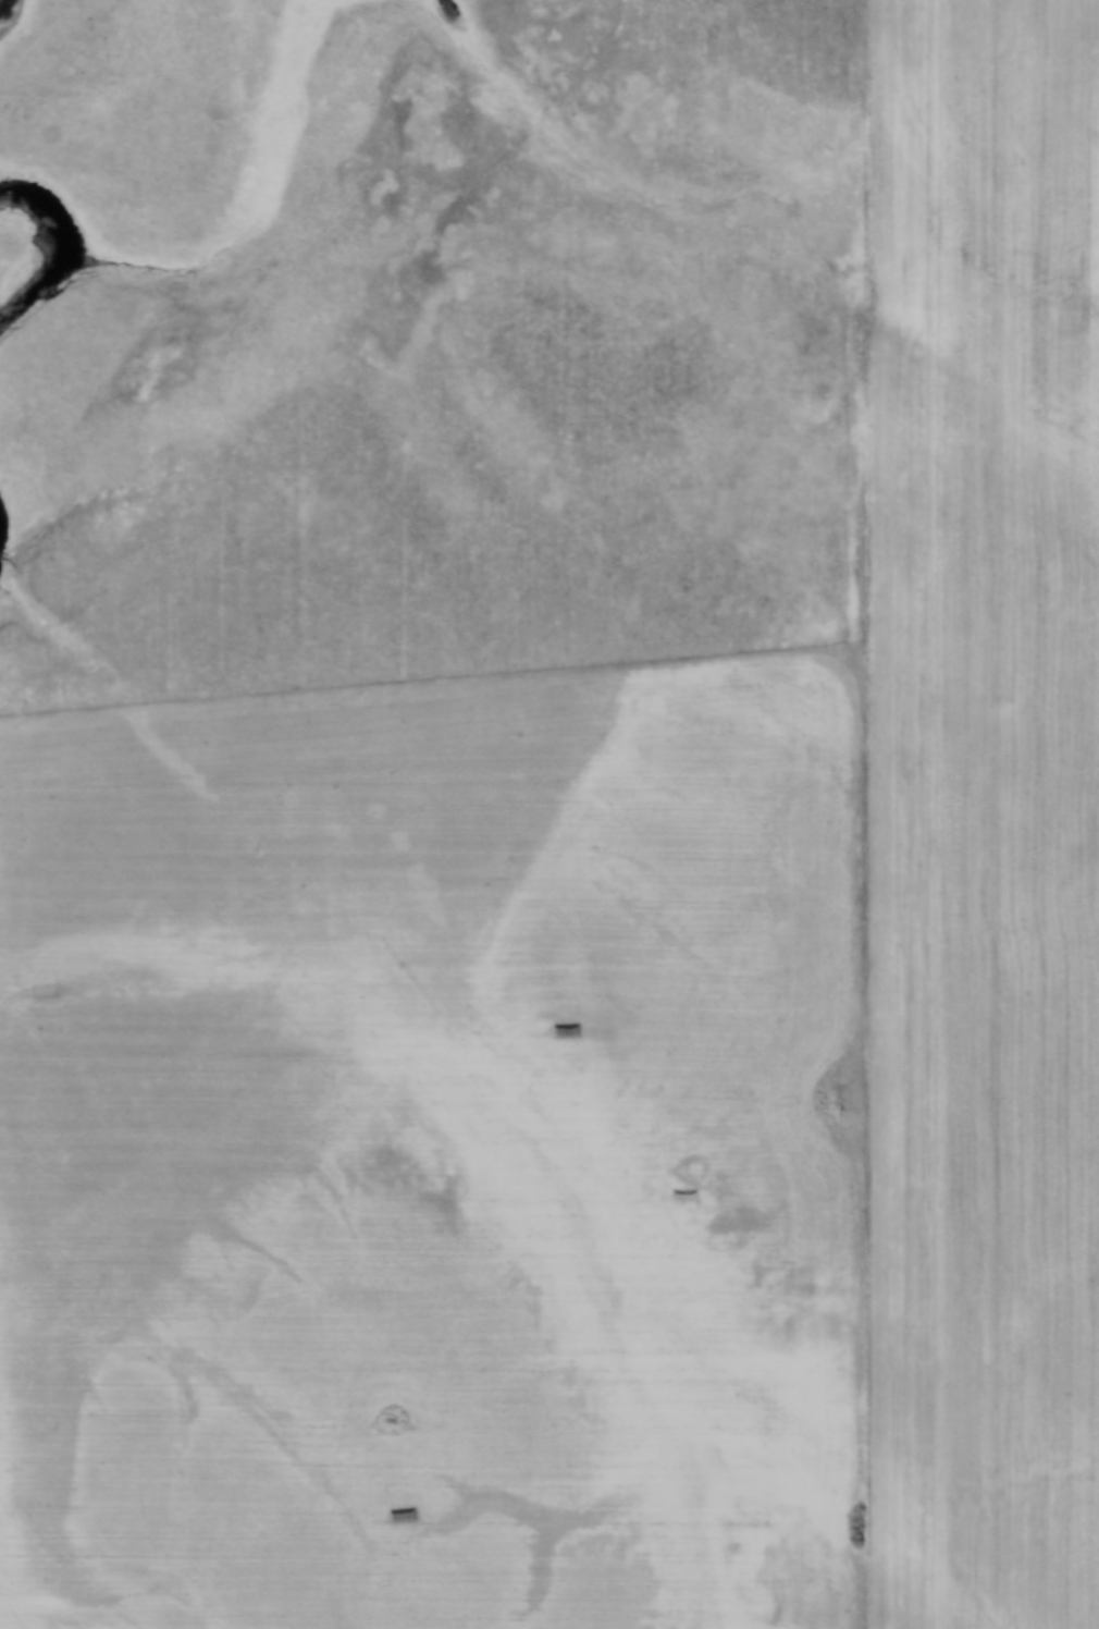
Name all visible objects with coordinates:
road: (431, 691)
road: (862, 814)

